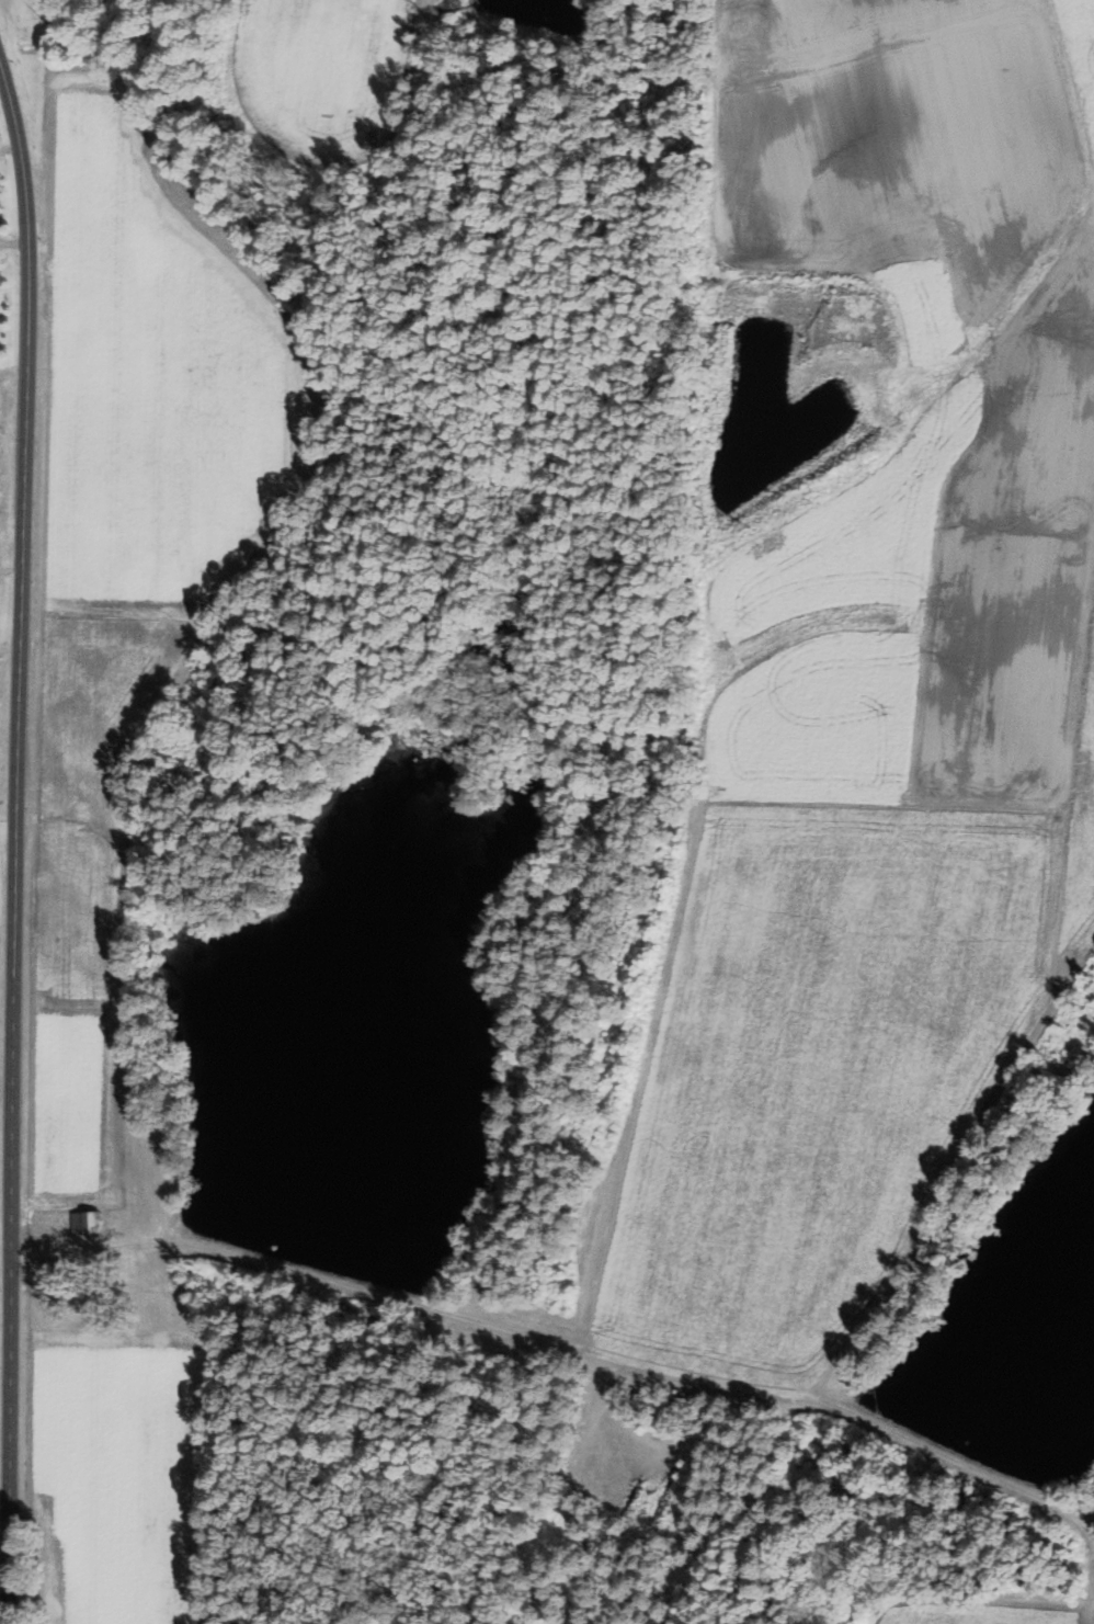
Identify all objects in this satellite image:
crop: (1080, 59)
crop: (321, 78)
road: (1068, 100)
road: (10, 148)
road: (14, 242)
road: (11, 570)
crop: (130, 577)
crop: (875, 704)
road: (8, 809)
road: (14, 839)
building: (88, 1220)
road: (52, 1250)
road: (609, 1354)
crop: (126, 1472)
crop: (983, 1611)

